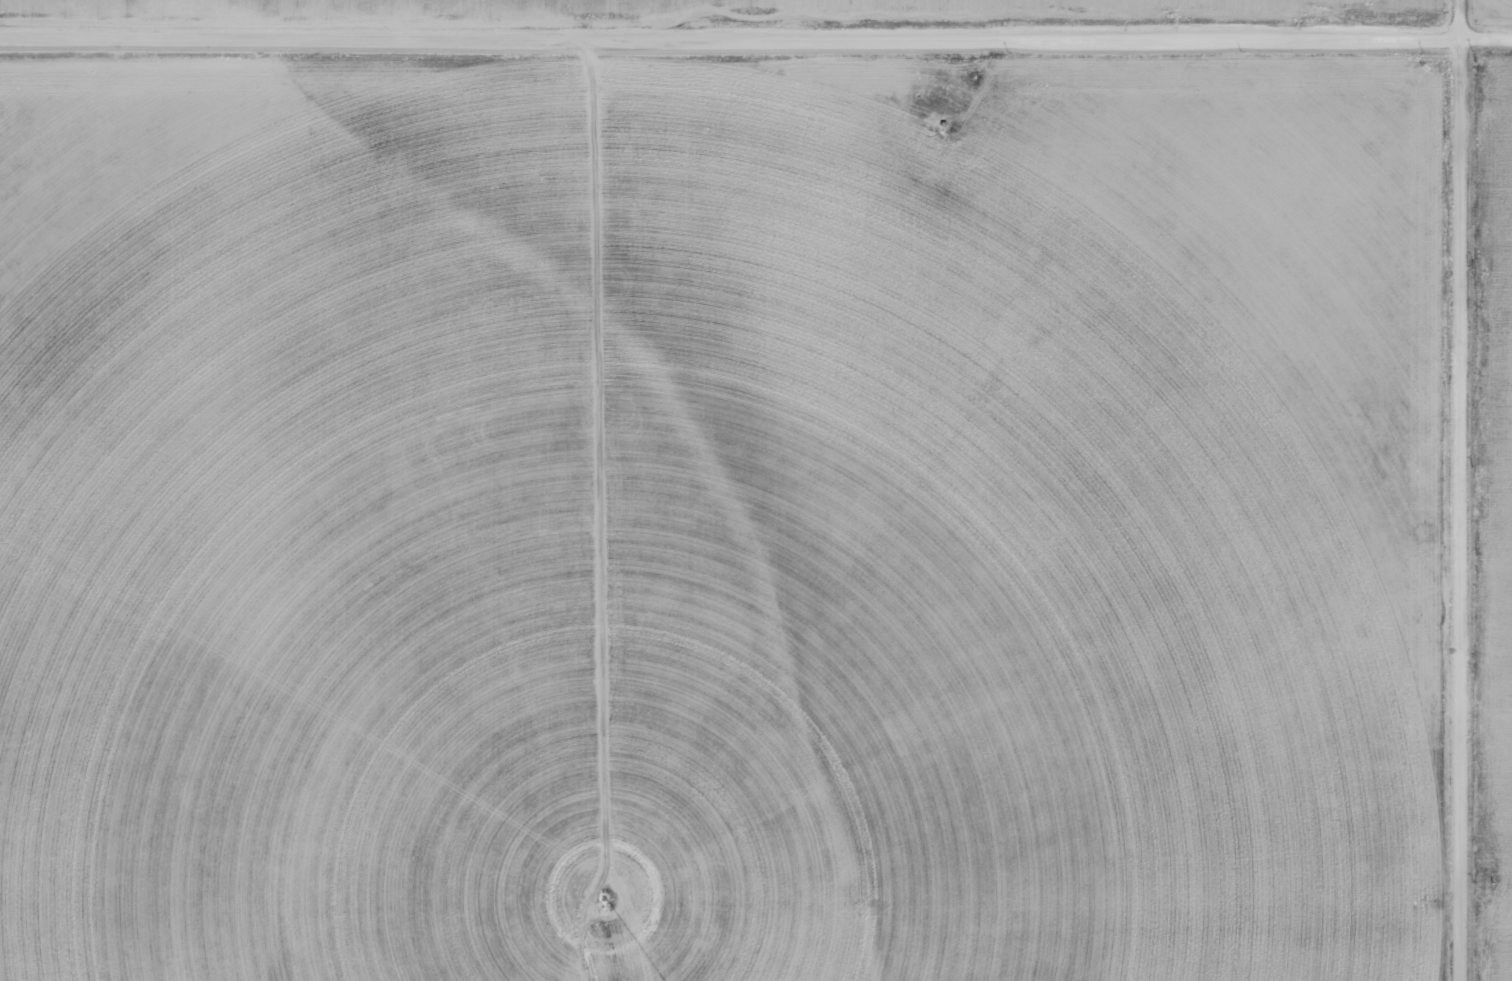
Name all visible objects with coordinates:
road: (756, 40)
road: (1462, 490)

